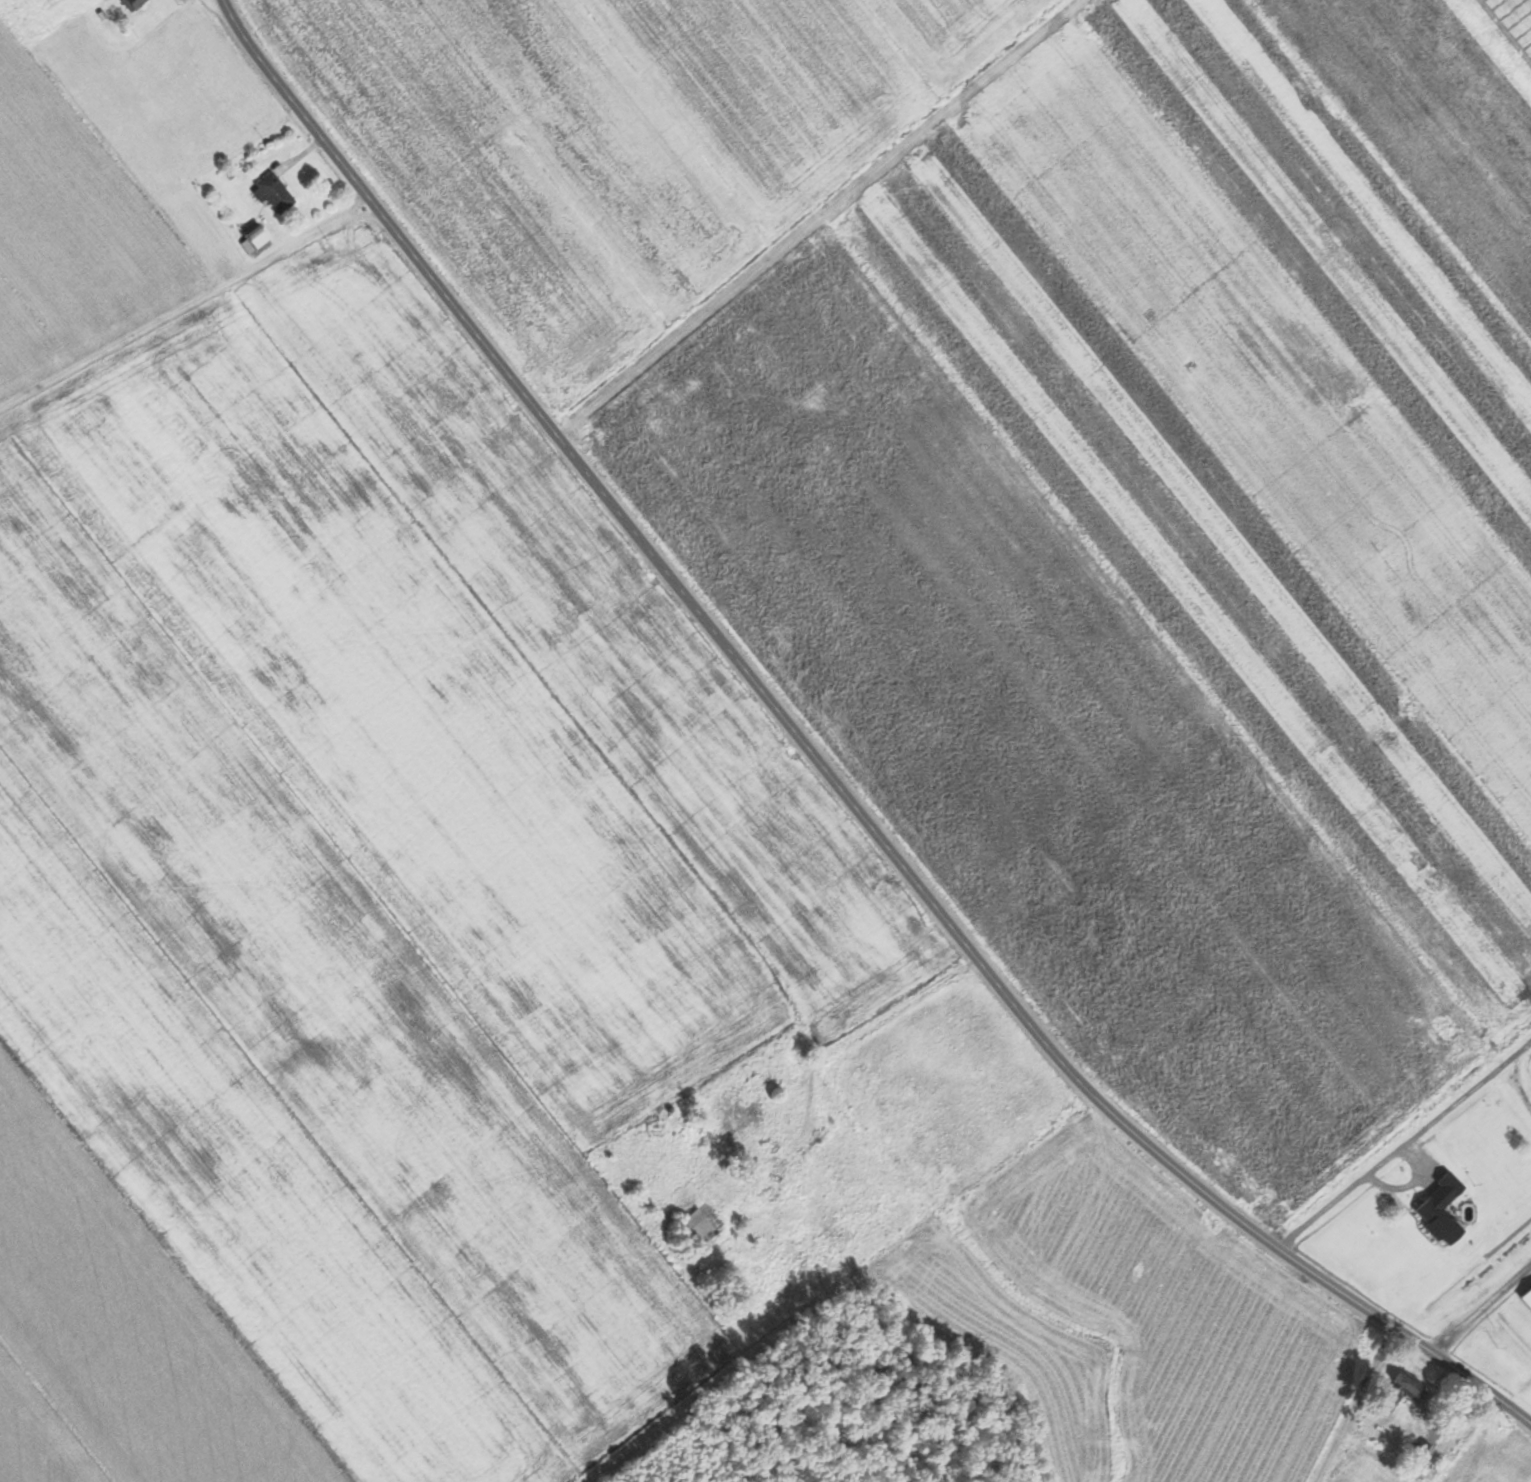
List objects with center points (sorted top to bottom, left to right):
building: (131, 4)
building: (271, 193)
road: (367, 214)
building: (254, 236)
road: (211, 293)
road: (821, 770)
road: (1515, 1088)
building: (735, 1116)
road: (1404, 1143)
building: (1436, 1222)
building: (695, 1229)
road: (1480, 1311)
building: (1399, 1394)
building: (1419, 1457)

